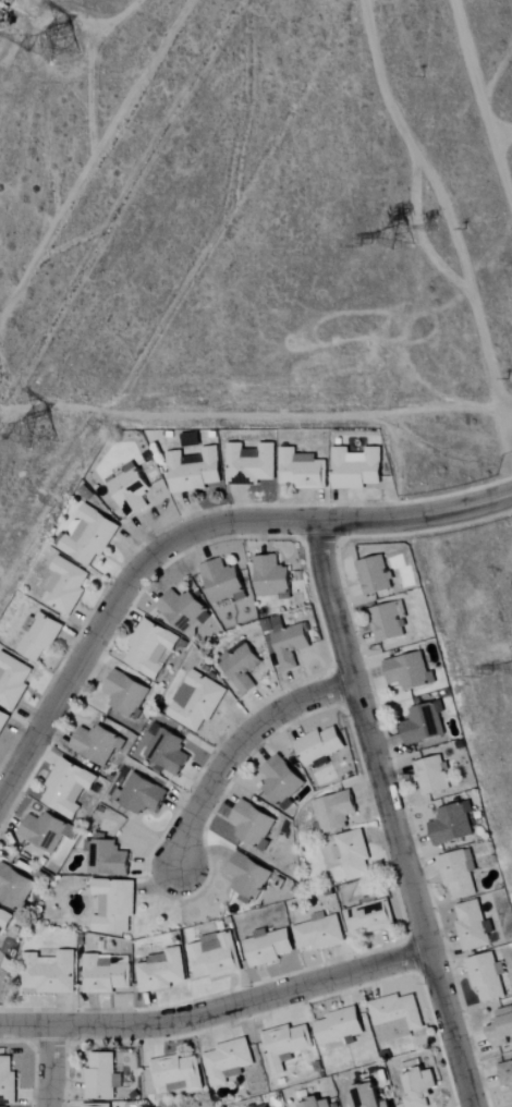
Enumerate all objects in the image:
power tower: (69, 34)
road: (111, 198)
power tower: (431, 228)
power tower: (394, 234)
power tower: (374, 247)
power tower: (46, 440)
building: (252, 464)
building: (358, 469)
building: (303, 470)
building: (196, 471)
building: (132, 490)
road: (417, 521)
building: (89, 535)
road: (178, 539)
building: (376, 575)
building: (272, 576)
building: (224, 582)
building: (68, 586)
building: (185, 612)
building: (388, 622)
building: (41, 636)
building: (292, 645)
building: (151, 647)
building: (243, 667)
power tower: (493, 671)
building: (411, 672)
building: (13, 681)
building: (127, 693)
building: (198, 701)
building: (3, 721)
building: (425, 725)
building: (97, 744)
building: (321, 745)
road: (236, 746)
building: (169, 753)
building: (434, 776)
building: (283, 781)
building: (69, 788)
building: (143, 794)
building: (336, 812)
building: (453, 824)
building: (255, 825)
building: (48, 831)
building: (354, 854)
building: (108, 859)
building: (459, 875)
building: (251, 876)
building: (14, 888)
road: (414, 896)
building: (115, 907)
building: (370, 916)
building: (4, 921)
building: (474, 926)
building: (321, 933)
building: (269, 947)
building: (216, 957)
building: (163, 972)
building: (51, 973)
building: (106, 975)
building: (487, 977)
road: (217, 1009)
building: (397, 1018)
building: (341, 1026)
building: (502, 1029)
building: (287, 1045)
building: (228, 1060)
road: (49, 1066)
building: (178, 1074)
building: (507, 1075)
building: (102, 1076)
building: (8, 1082)
building: (422, 1088)
building: (368, 1097)
building: (320, 1104)
building: (98, 1105)

